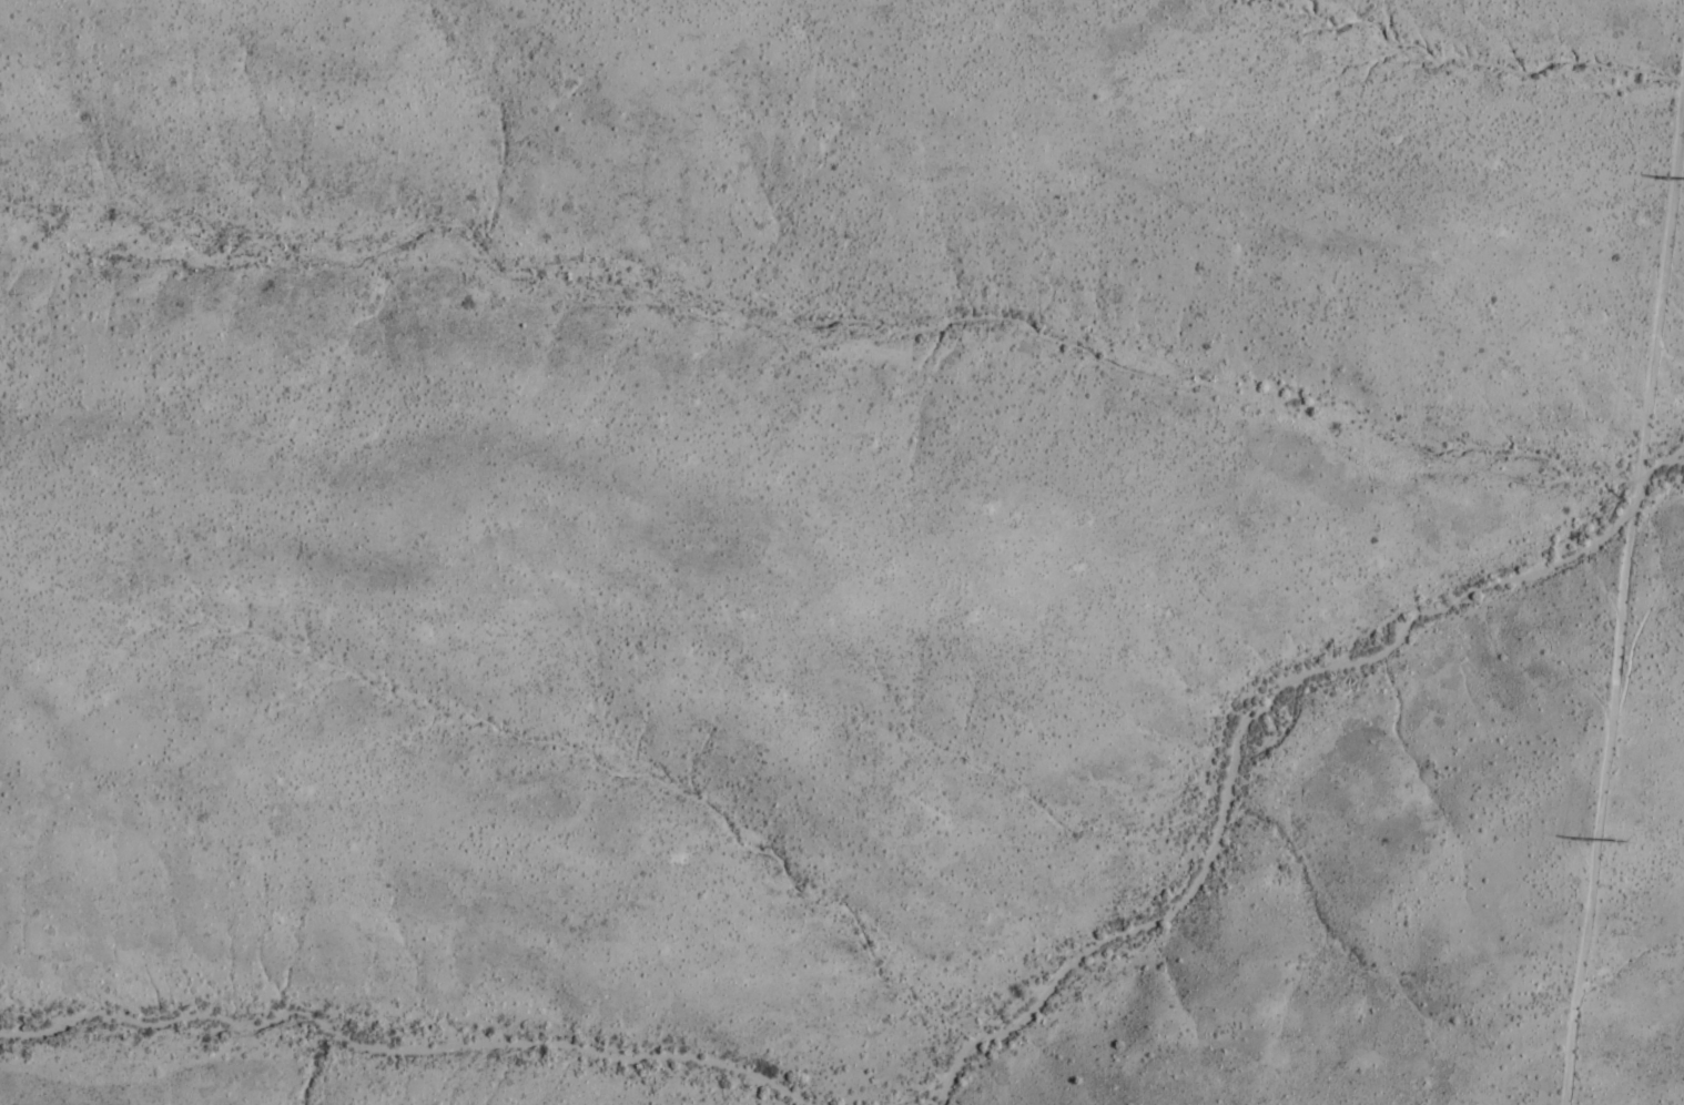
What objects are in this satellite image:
road: (1621, 578)
power tower: (1615, 838)

